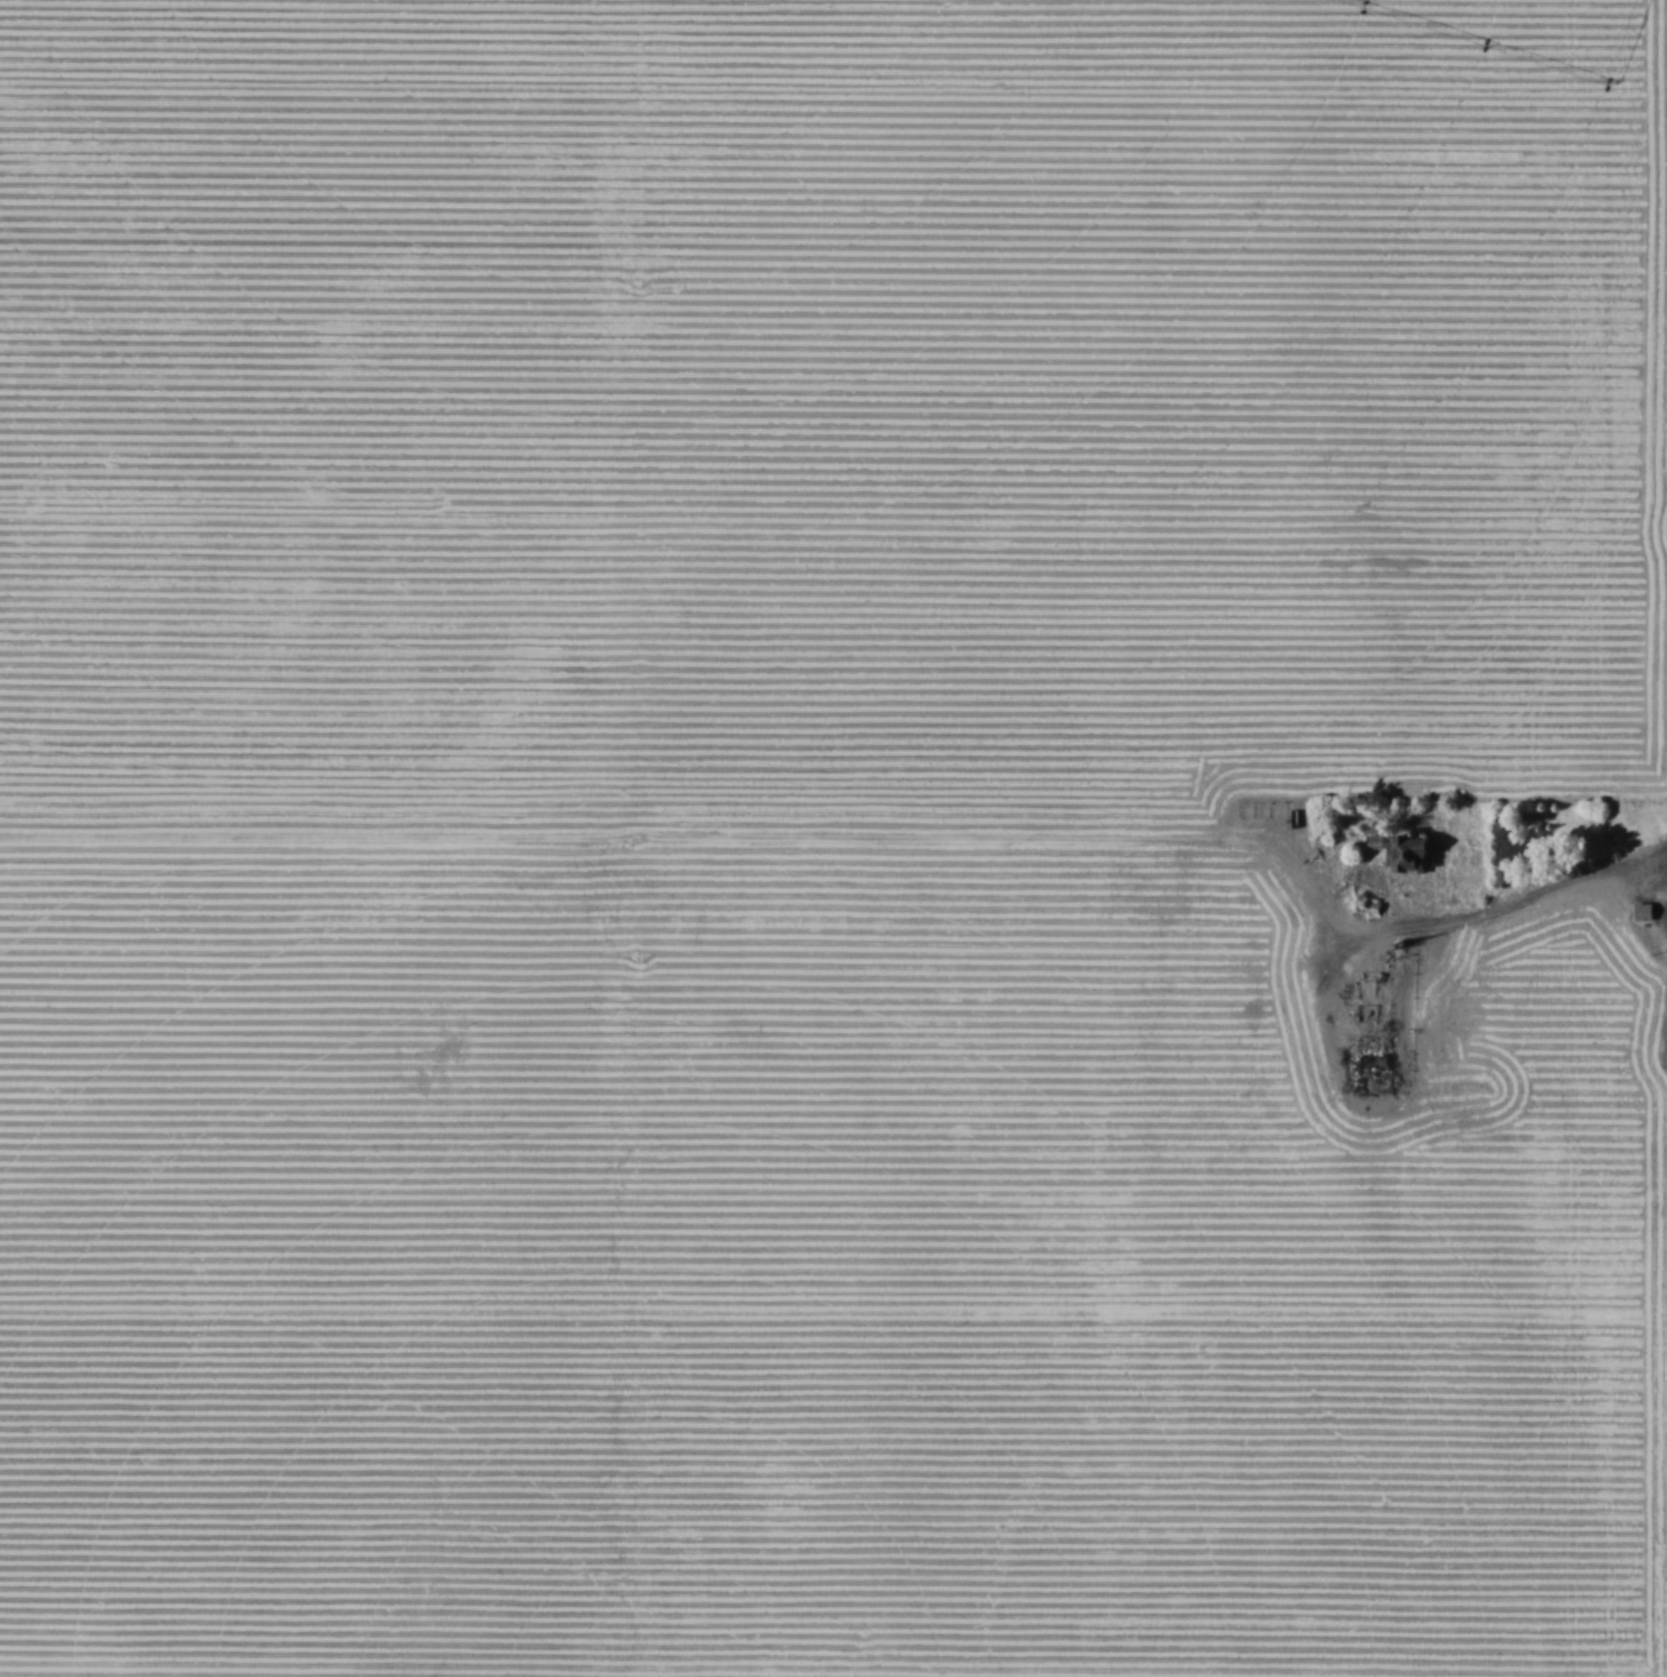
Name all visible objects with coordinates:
building: (1646, 910)
road: (1478, 914)
building: (1247, 1051)
building: (1381, 1072)

